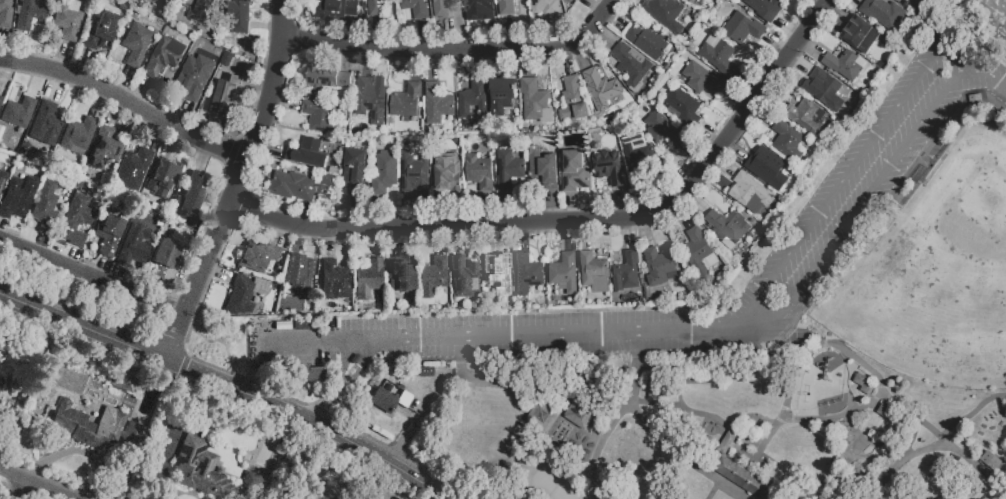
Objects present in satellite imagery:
road: (860, 0)
building: (165, 2)
building: (481, 5)
road: (595, 5)
building: (375, 6)
building: (505, 6)
building: (544, 6)
building: (996, 6)
building: (441, 7)
building: (764, 7)
building: (416, 8)
road: (840, 8)
building: (336, 9)
building: (201, 10)
building: (5, 12)
building: (882, 12)
building: (667, 13)
building: (29, 14)
building: (240, 15)
road: (615, 18)
building: (67, 19)
road: (267, 27)
building: (742, 27)
building: (101, 32)
road: (791, 32)
road: (555, 33)
road: (355, 34)
road: (491, 34)
building: (859, 34)
road: (378, 35)
road: (510, 35)
road: (605, 35)
road: (446, 37)
road: (294, 38)
road: (425, 39)
road: (439, 39)
building: (646, 40)
building: (134, 41)
road: (778, 44)
road: (812, 46)
road: (3, 47)
road: (21, 50)
road: (458, 51)
road: (582, 53)
building: (164, 55)
building: (718, 55)
road: (347, 56)
road: (568, 58)
road: (64, 59)
road: (368, 61)
road: (530, 61)
road: (800, 61)
road: (500, 62)
road: (479, 63)
building: (630, 63)
road: (417, 64)
road: (434, 64)
building: (842, 65)
road: (84, 66)
road: (988, 76)
building: (701, 77)
building: (192, 78)
building: (326, 78)
road: (749, 83)
road: (37, 84)
road: (125, 85)
road: (57, 88)
road: (260, 88)
building: (600, 88)
building: (824, 88)
road: (142, 94)
building: (225, 94)
building: (0, 95)
building: (501, 95)
building: (371, 97)
building: (532, 98)
building: (0, 99)
building: (472, 99)
building: (572, 99)
road: (737, 99)
building: (406, 100)
building: (436, 100)
road: (128, 101)
road: (99, 103)
road: (284, 103)
building: (683, 105)
road: (116, 112)
building: (18, 113)
road: (249, 113)
building: (321, 113)
road: (763, 113)
building: (805, 116)
road: (185, 118)
building: (45, 124)
building: (662, 128)
road: (712, 133)
building: (78, 135)
road: (156, 135)
road: (249, 140)
building: (787, 140)
building: (407, 141)
road: (175, 144)
building: (102, 148)
road: (269, 148)
road: (735, 150)
building: (310, 152)
road: (696, 154)
building: (639, 157)
road: (205, 158)
road: (223, 165)
road: (724, 165)
building: (766, 166)
building: (611, 167)
building: (133, 168)
building: (546, 168)
building: (510, 170)
building: (336, 171)
building: (414, 171)
building: (357, 172)
building: (482, 172)
building: (577, 172)
building: (387, 174)
road: (848, 174)
building: (448, 176)
building: (163, 177)
building: (2, 179)
road: (239, 183)
building: (292, 184)
road: (217, 191)
building: (191, 192)
building: (749, 192)
building: (17, 197)
road: (648, 200)
road: (696, 201)
road: (623, 203)
road: (555, 206)
building: (45, 207)
road: (242, 207)
road: (572, 207)
road: (489, 208)
road: (507, 208)
road: (424, 210)
road: (859, 210)
road: (443, 211)
road: (359, 212)
road: (379, 212)
road: (683, 214)
road: (307, 215)
road: (324, 216)
road: (581, 221)
building: (74, 222)
road: (2, 224)
building: (727, 226)
road: (645, 229)
road: (516, 231)
road: (283, 234)
road: (627, 234)
building: (108, 235)
road: (504, 236)
road: (568, 236)
road: (586, 236)
road: (523, 238)
road: (396, 239)
road: (440, 239)
road: (459, 239)
road: (312, 242)
road: (377, 242)
road: (330, 243)
road: (43, 245)
building: (133, 246)
parking lot: (807, 249)
road: (226, 251)
road: (60, 253)
building: (165, 254)
building: (699, 254)
building: (257, 255)
building: (657, 265)
road: (103, 269)
building: (593, 271)
road: (216, 272)
building: (625, 272)
building: (563, 273)
building: (399, 274)
building: (526, 274)
building: (498, 275)
park: (937, 275)
road: (93, 276)
building: (432, 276)
road: (119, 277)
building: (464, 277)
building: (301, 279)
building: (368, 279)
building: (335, 281)
building: (245, 294)
road: (171, 307)
road: (160, 329)
road: (556, 334)
park: (754, 335)
road: (318, 343)
road: (759, 343)
road: (166, 348)
road: (860, 361)
road: (182, 368)
building: (309, 373)
building: (123, 379)
road: (347, 380)
building: (1, 383)
road: (234, 386)
road: (420, 390)
building: (392, 401)
road: (787, 410)
road: (335, 417)
road: (419, 418)
road: (839, 418)
building: (96, 427)
road: (732, 427)
road: (610, 431)
building: (729, 443)
road: (869, 444)
road: (77, 451)
building: (267, 452)
road: (681, 458)
building: (993, 462)
building: (200, 468)
building: (741, 479)
building: (251, 482)
road: (36, 484)
road: (874, 485)
road: (24, 490)
road: (715, 491)

